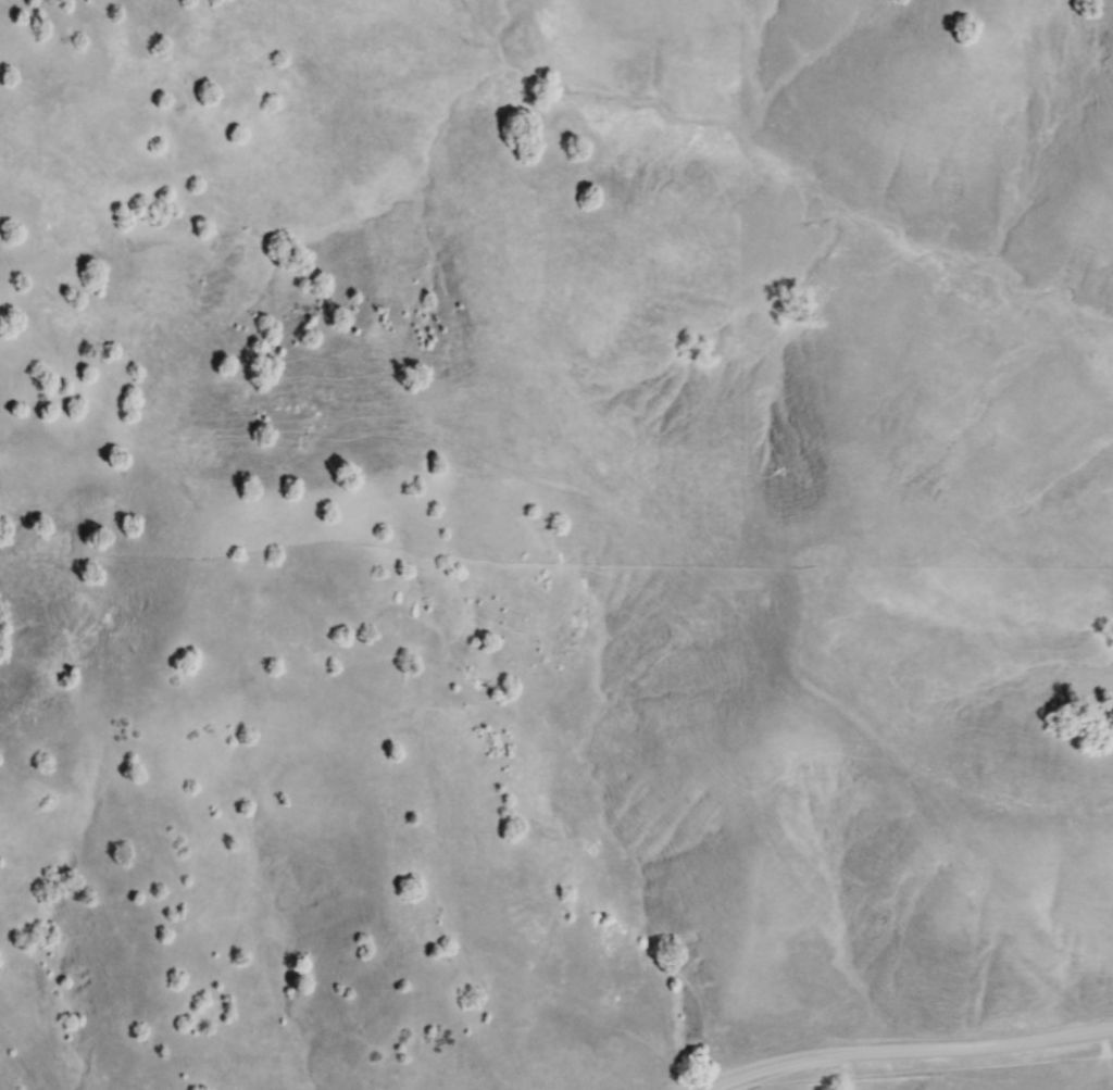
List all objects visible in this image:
road: (912, 1052)

